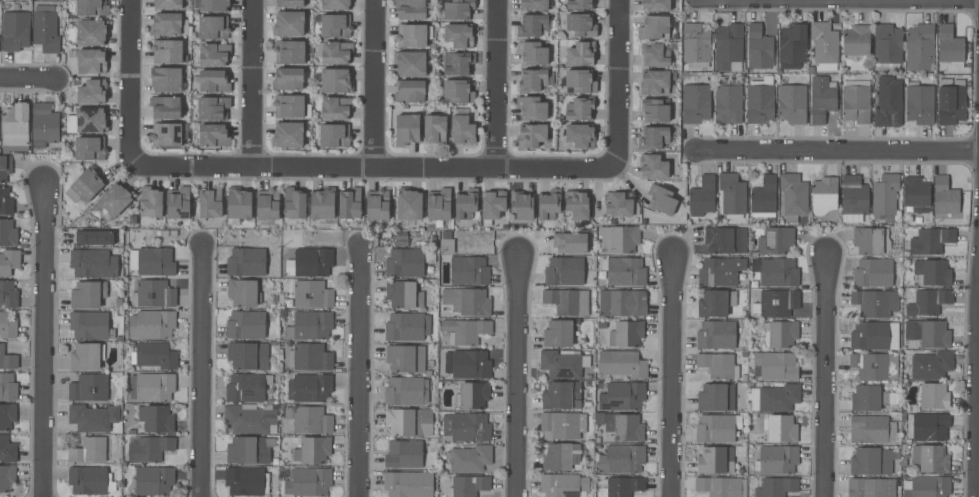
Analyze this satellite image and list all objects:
building: (289, 3)
building: (168, 4)
building: (534, 4)
building: (580, 4)
building: (214, 5)
building: (335, 5)
building: (656, 5)
building: (92, 7)
building: (411, 9)
building: (458, 9)
building: (288, 23)
building: (166, 24)
building: (335, 25)
building: (533, 25)
building: (581, 25)
building: (213, 27)
building: (654, 27)
building: (45, 29)
building: (15, 30)
building: (91, 32)
building: (413, 35)
building: (458, 35)
building: (561, 35)
building: (856, 40)
building: (696, 45)
building: (824, 45)
building: (728, 46)
building: (792, 46)
building: (887, 46)
building: (920, 47)
building: (950, 47)
building: (759, 48)
building: (168, 51)
building: (289, 51)
building: (336, 52)
building: (532, 53)
building: (581, 53)
building: (214, 54)
building: (655, 55)
building: (91, 61)
building: (410, 63)
building: (458, 63)
road: (27, 78)
building: (165, 79)
building: (288, 79)
road: (129, 80)
building: (212, 80)
building: (535, 80)
road: (621, 80)
building: (336, 81)
building: (580, 81)
building: (654, 82)
road: (250, 83)
road: (371, 83)
road: (495, 83)
building: (458, 91)
building: (91, 92)
building: (410, 92)
building: (821, 99)
building: (728, 100)
building: (760, 101)
building: (856, 101)
building: (951, 101)
building: (888, 102)
building: (919, 103)
building: (695, 104)
building: (792, 104)
building: (288, 106)
building: (165, 107)
building: (213, 107)
building: (336, 107)
building: (531, 107)
building: (580, 108)
building: (655, 110)
building: (87, 121)
building: (44, 126)
building: (15, 128)
building: (406, 130)
building: (435, 130)
building: (462, 130)
building: (168, 134)
building: (213, 135)
building: (287, 135)
building: (333, 135)
building: (532, 135)
building: (581, 136)
building: (653, 137)
building: (90, 148)
road: (839, 151)
road: (376, 166)
building: (5, 167)
building: (653, 167)
building: (87, 184)
building: (915, 194)
building: (824, 195)
building: (885, 195)
building: (702, 196)
building: (732, 196)
building: (793, 196)
building: (854, 196)
building: (945, 198)
building: (764, 199)
building: (661, 200)
building: (6, 202)
building: (111, 202)
building: (150, 202)
building: (178, 203)
building: (211, 203)
building: (238, 204)
building: (294, 204)
building: (322, 204)
building: (350, 204)
building: (377, 204)
building: (409, 204)
building: (466, 204)
building: (549, 204)
building: (577, 204)
building: (617, 204)
building: (267, 205)
building: (439, 205)
building: (493, 205)
building: (521, 205)
building: (8, 233)
building: (446, 235)
building: (94, 238)
building: (617, 239)
building: (726, 240)
building: (871, 240)
building: (775, 241)
building: (931, 241)
building: (570, 243)
building: (446, 246)
building: (9, 262)
building: (155, 262)
building: (246, 262)
building: (312, 262)
building: (407, 262)
building: (93, 263)
building: (469, 271)
building: (564, 271)
building: (624, 271)
building: (722, 271)
building: (776, 272)
building: (932, 272)
building: (873, 273)
building: (243, 293)
building: (8, 294)
building: (87, 294)
building: (153, 294)
building: (312, 294)
building: (402, 294)
building: (468, 301)
building: (567, 301)
building: (928, 302)
building: (118, 303)
building: (622, 303)
building: (715, 303)
building: (778, 303)
building: (875, 303)
building: (152, 324)
building: (246, 325)
building: (310, 325)
building: (90, 326)
building: (407, 326)
building: (7, 327)
building: (465, 331)
building: (928, 333)
building: (558, 334)
building: (626, 334)
building: (782, 334)
building: (716, 335)
building: (874, 335)
road: (43, 342)
building: (274, 350)
building: (154, 355)
building: (248, 356)
building: (87, 357)
building: (309, 357)
building: (405, 358)
building: (7, 359)
building: (563, 363)
building: (621, 363)
building: (467, 364)
building: (718, 365)
building: (776, 365)
building: (931, 365)
building: (875, 366)
building: (274, 368)
road: (201, 371)
road: (359, 371)
road: (516, 376)
road: (674, 376)
road: (825, 376)
road: (975, 385)
building: (7, 387)
building: (154, 387)
building: (247, 387)
building: (88, 388)
building: (309, 388)
building: (406, 391)
building: (472, 395)
building: (561, 395)
building: (622, 396)
building: (932, 396)
building: (716, 397)
building: (774, 398)
building: (870, 398)
building: (7, 416)
building: (93, 417)
building: (250, 418)
building: (158, 419)
building: (599, 419)
building: (309, 420)
building: (409, 422)
building: (562, 425)
building: (625, 427)
building: (928, 427)
building: (465, 428)
building: (717, 428)
building: (782, 429)
building: (871, 430)
building: (148, 448)
building: (7, 450)
building: (89, 450)
building: (249, 450)
building: (313, 450)
building: (407, 453)
building: (561, 456)
building: (930, 458)
building: (469, 459)
building: (621, 459)
building: (776, 459)
building: (715, 460)
building: (872, 462)
building: (6, 477)
building: (90, 481)
building: (154, 481)
building: (246, 481)
building: (307, 482)
building: (408, 484)
building: (563, 485)
building: (468, 486)
building: (721, 486)
building: (622, 487)
building: (776, 487)
building: (926, 487)
building: (870, 488)

